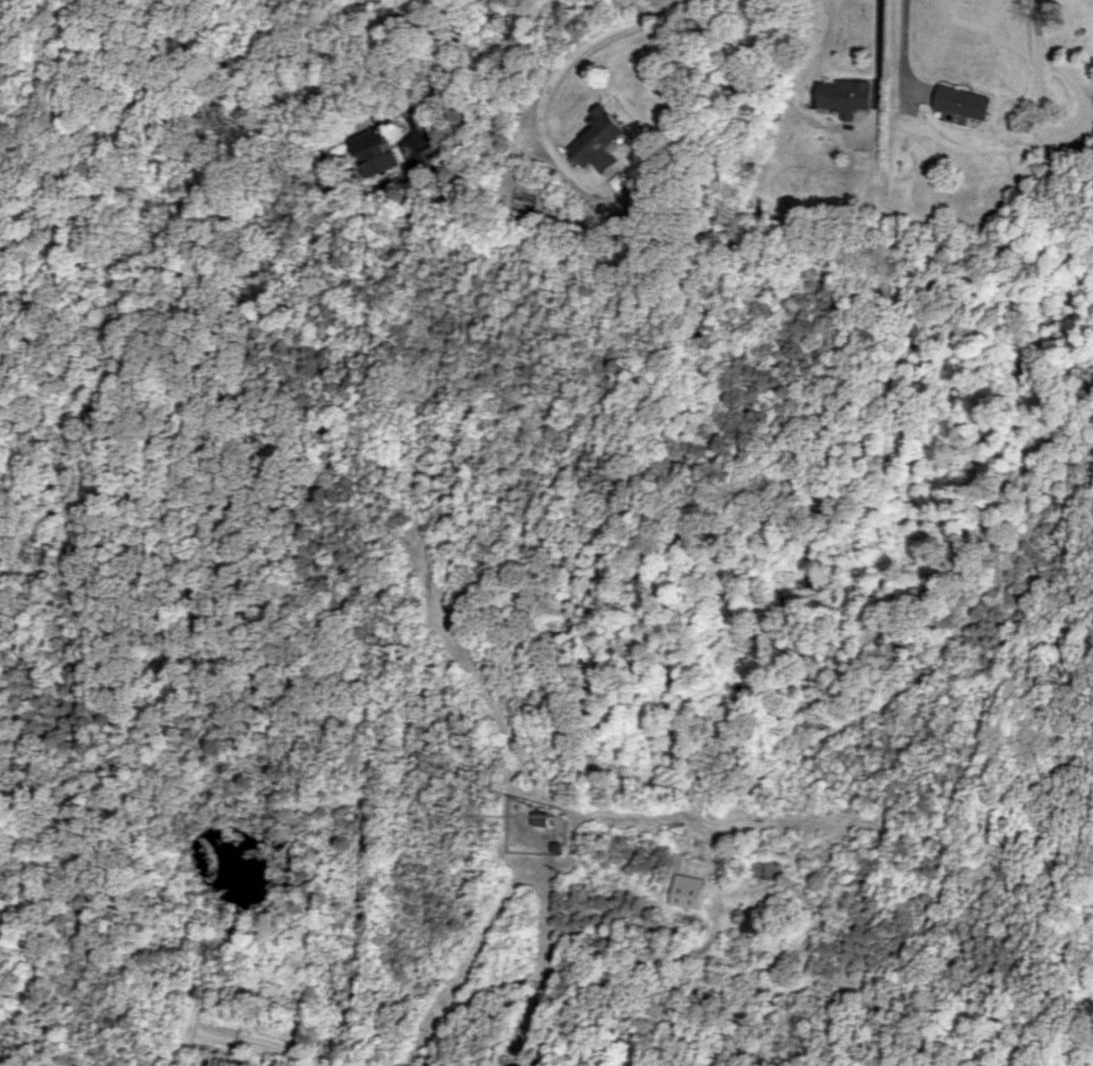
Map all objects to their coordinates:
road: (2, 3)
road: (1038, 21)
road: (905, 52)
road: (572, 56)
road: (878, 61)
road: (446, 62)
building: (842, 96)
building: (964, 101)
road: (1075, 134)
building: (598, 139)
building: (371, 152)
building: (686, 891)
road: (548, 892)
building: (756, 921)
road: (521, 982)

